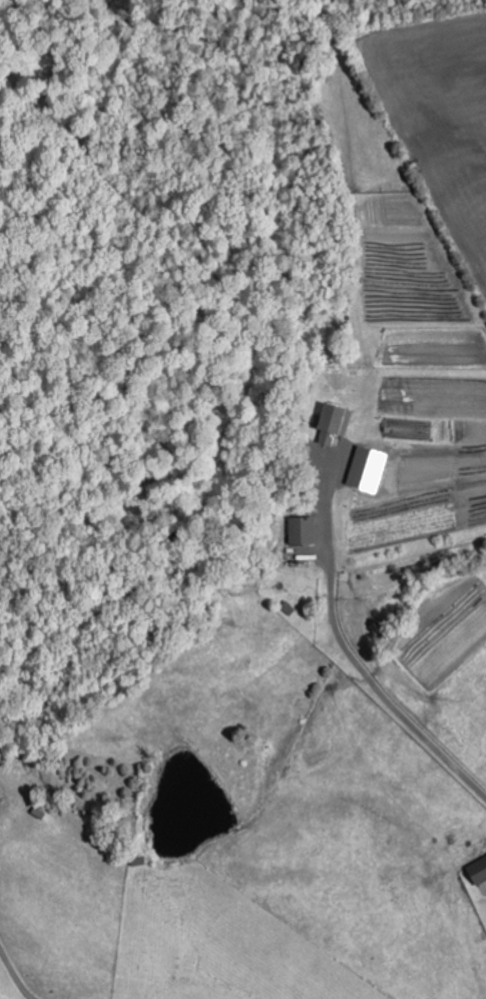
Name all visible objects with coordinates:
building: (339, 424)
building: (306, 530)
road: (351, 656)
building: (480, 870)
building: (484, 887)
road: (14, 976)

